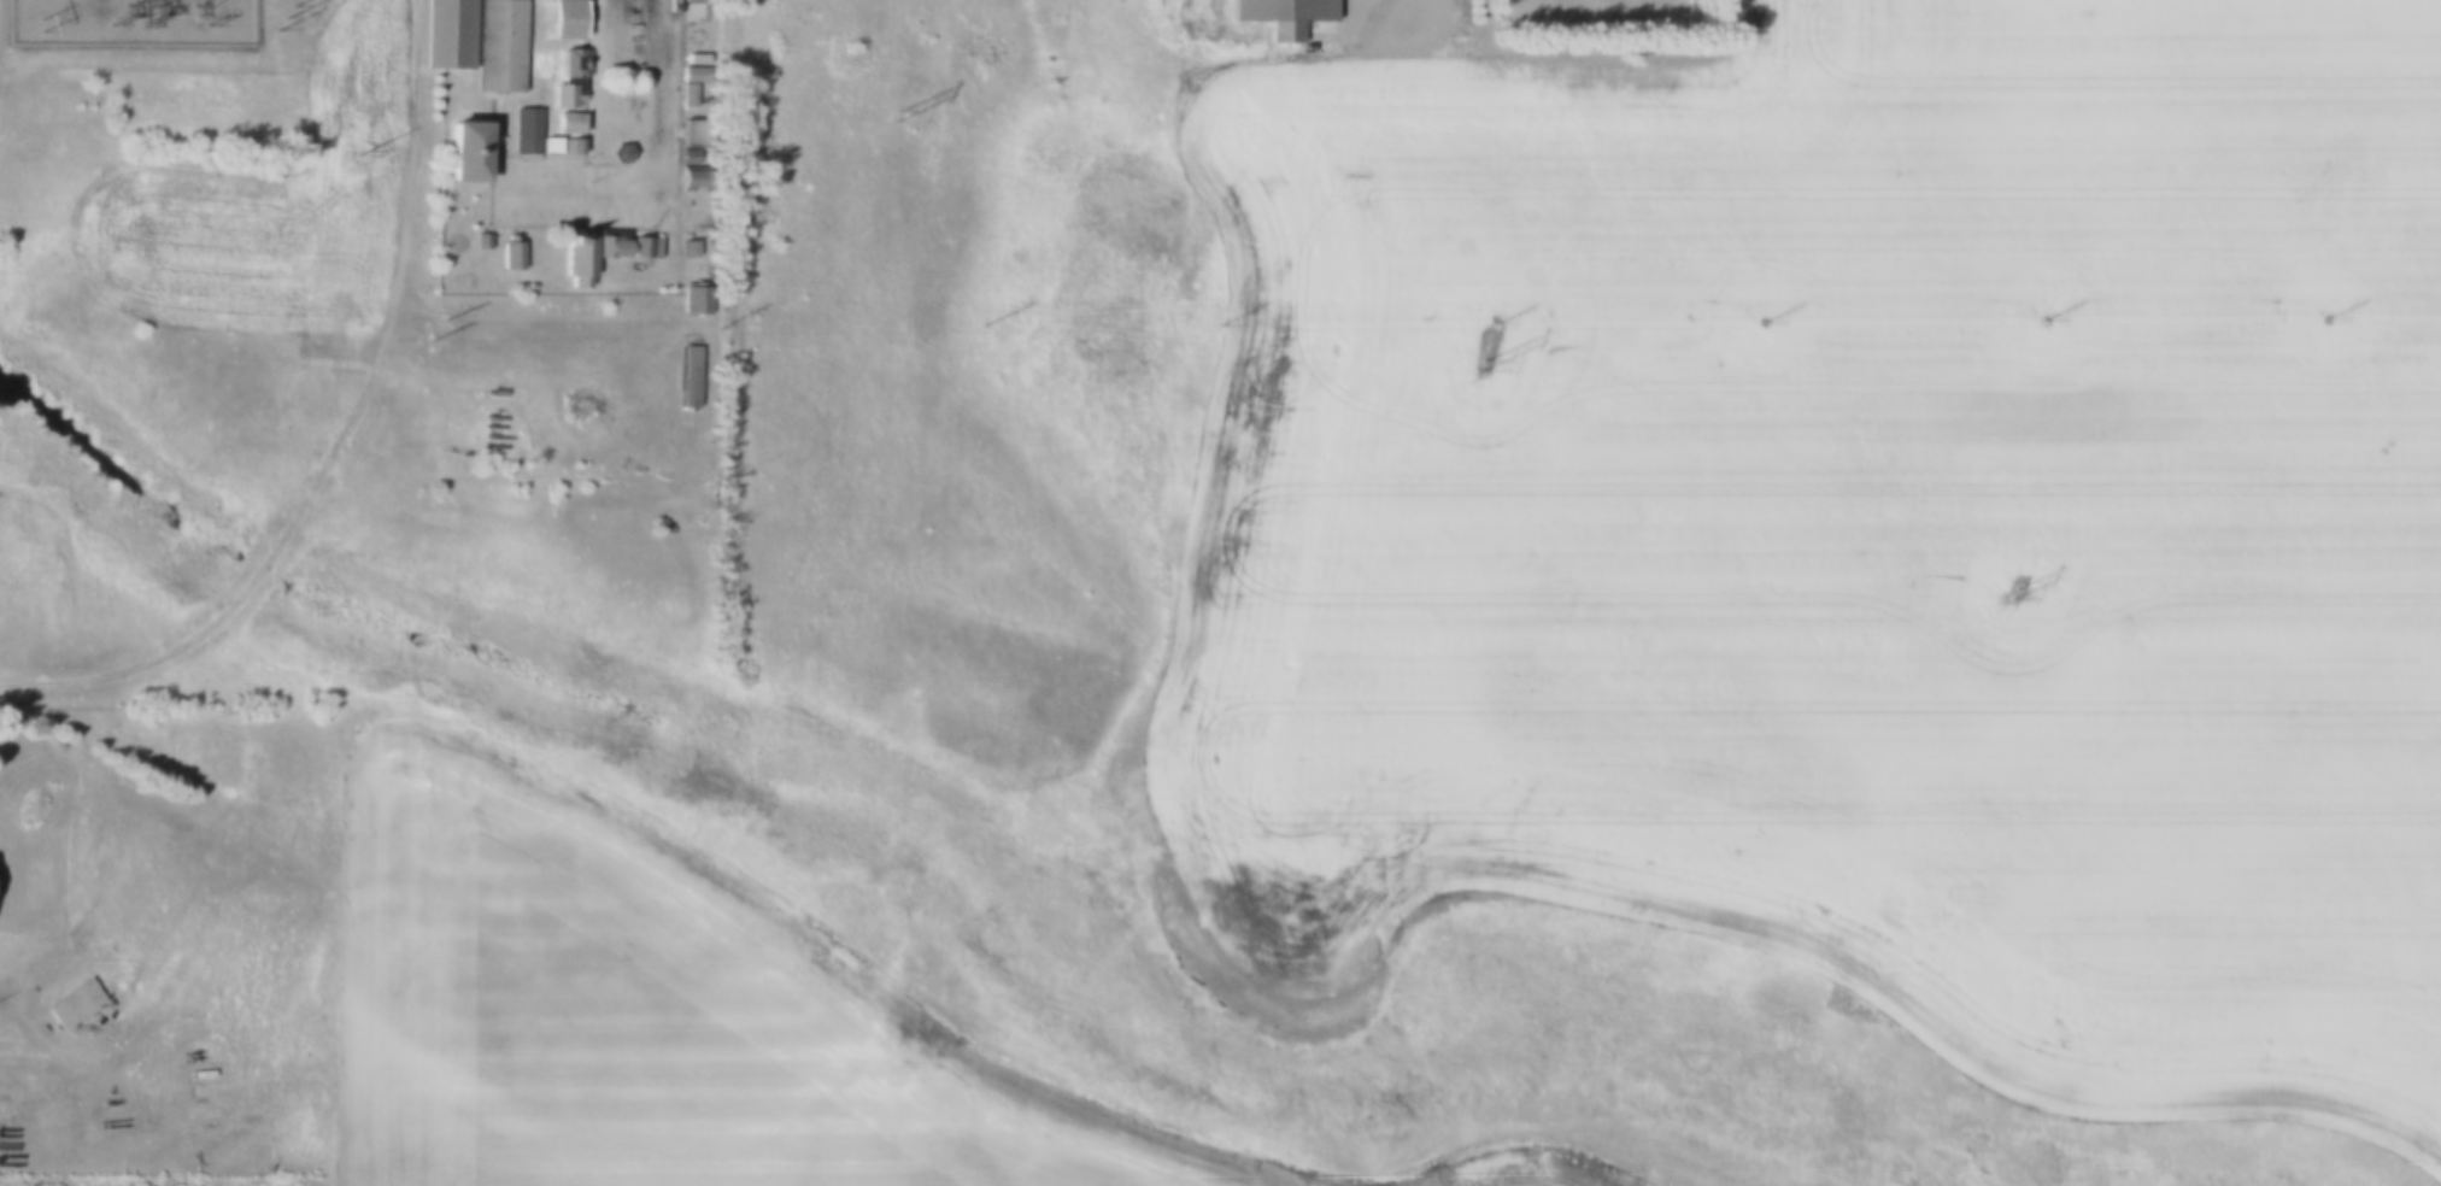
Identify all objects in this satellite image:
building: (667, 1)
building: (690, 2)
building: (667, 10)
building: (1284, 17)
power substation: (133, 23)
building: (446, 34)
building: (632, 48)
building: (498, 49)
building: (692, 59)
building: (570, 63)
building: (688, 74)
building: (561, 95)
building: (683, 95)
building: (567, 122)
building: (523, 131)
building: (688, 131)
building: (546, 146)
building: (568, 146)
building: (459, 152)
building: (620, 153)
building: (683, 158)
building: (687, 178)
building: (477, 241)
building: (606, 247)
building: (641, 248)
building: (686, 248)
building: (506, 254)
building: (573, 260)
building: (515, 284)
building: (524, 284)
building: (692, 299)
building: (683, 377)
road: (338, 438)
building: (71, 997)
road: (7, 1000)

